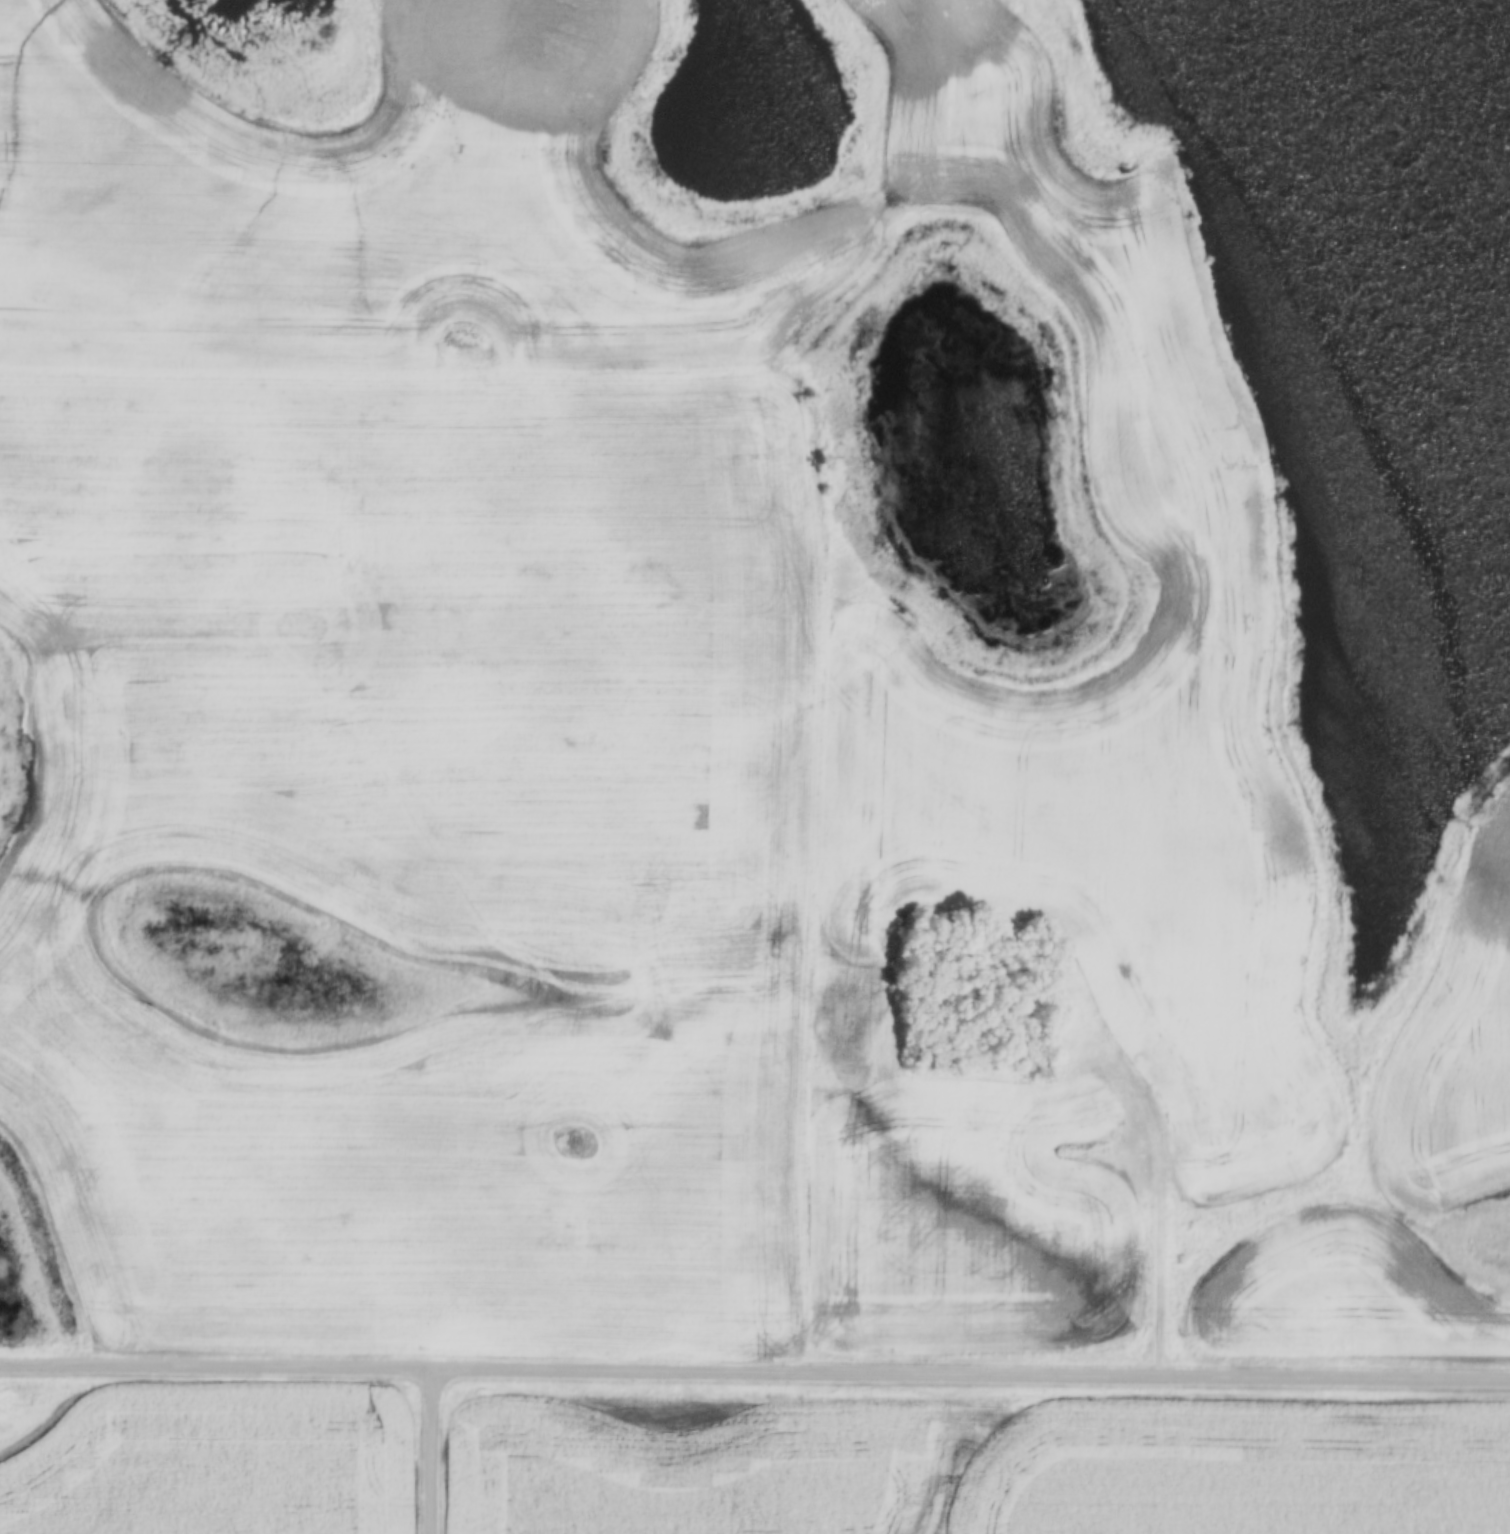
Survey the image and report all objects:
building: (1164, 1049)
building: (1086, 1118)
road: (755, 1375)
road: (435, 1453)

